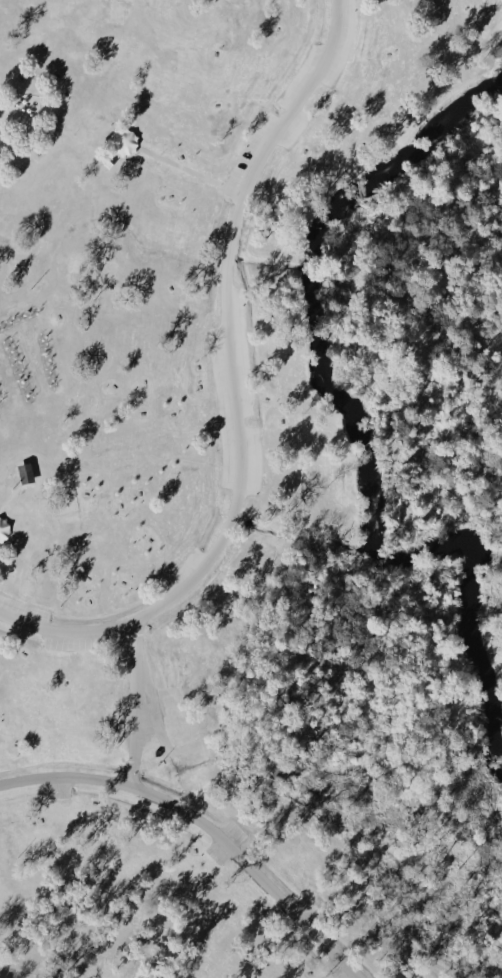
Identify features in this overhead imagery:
road: (4, 106)
road: (297, 107)
parking lot: (288, 112)
building: (125, 142)
road: (180, 166)
parking lot: (236, 399)
river: (355, 422)
building: (23, 472)
park: (251, 489)
road: (9, 493)
road: (238, 504)
building: (5, 530)
parking lot: (182, 572)
parking lot: (47, 627)
parking lot: (167, 699)
road: (133, 701)
road: (151, 711)
parking lot: (190, 751)
parking lot: (59, 790)
road: (206, 824)
parking lot: (226, 841)
parking lot: (317, 915)
parking lot: (332, 970)

